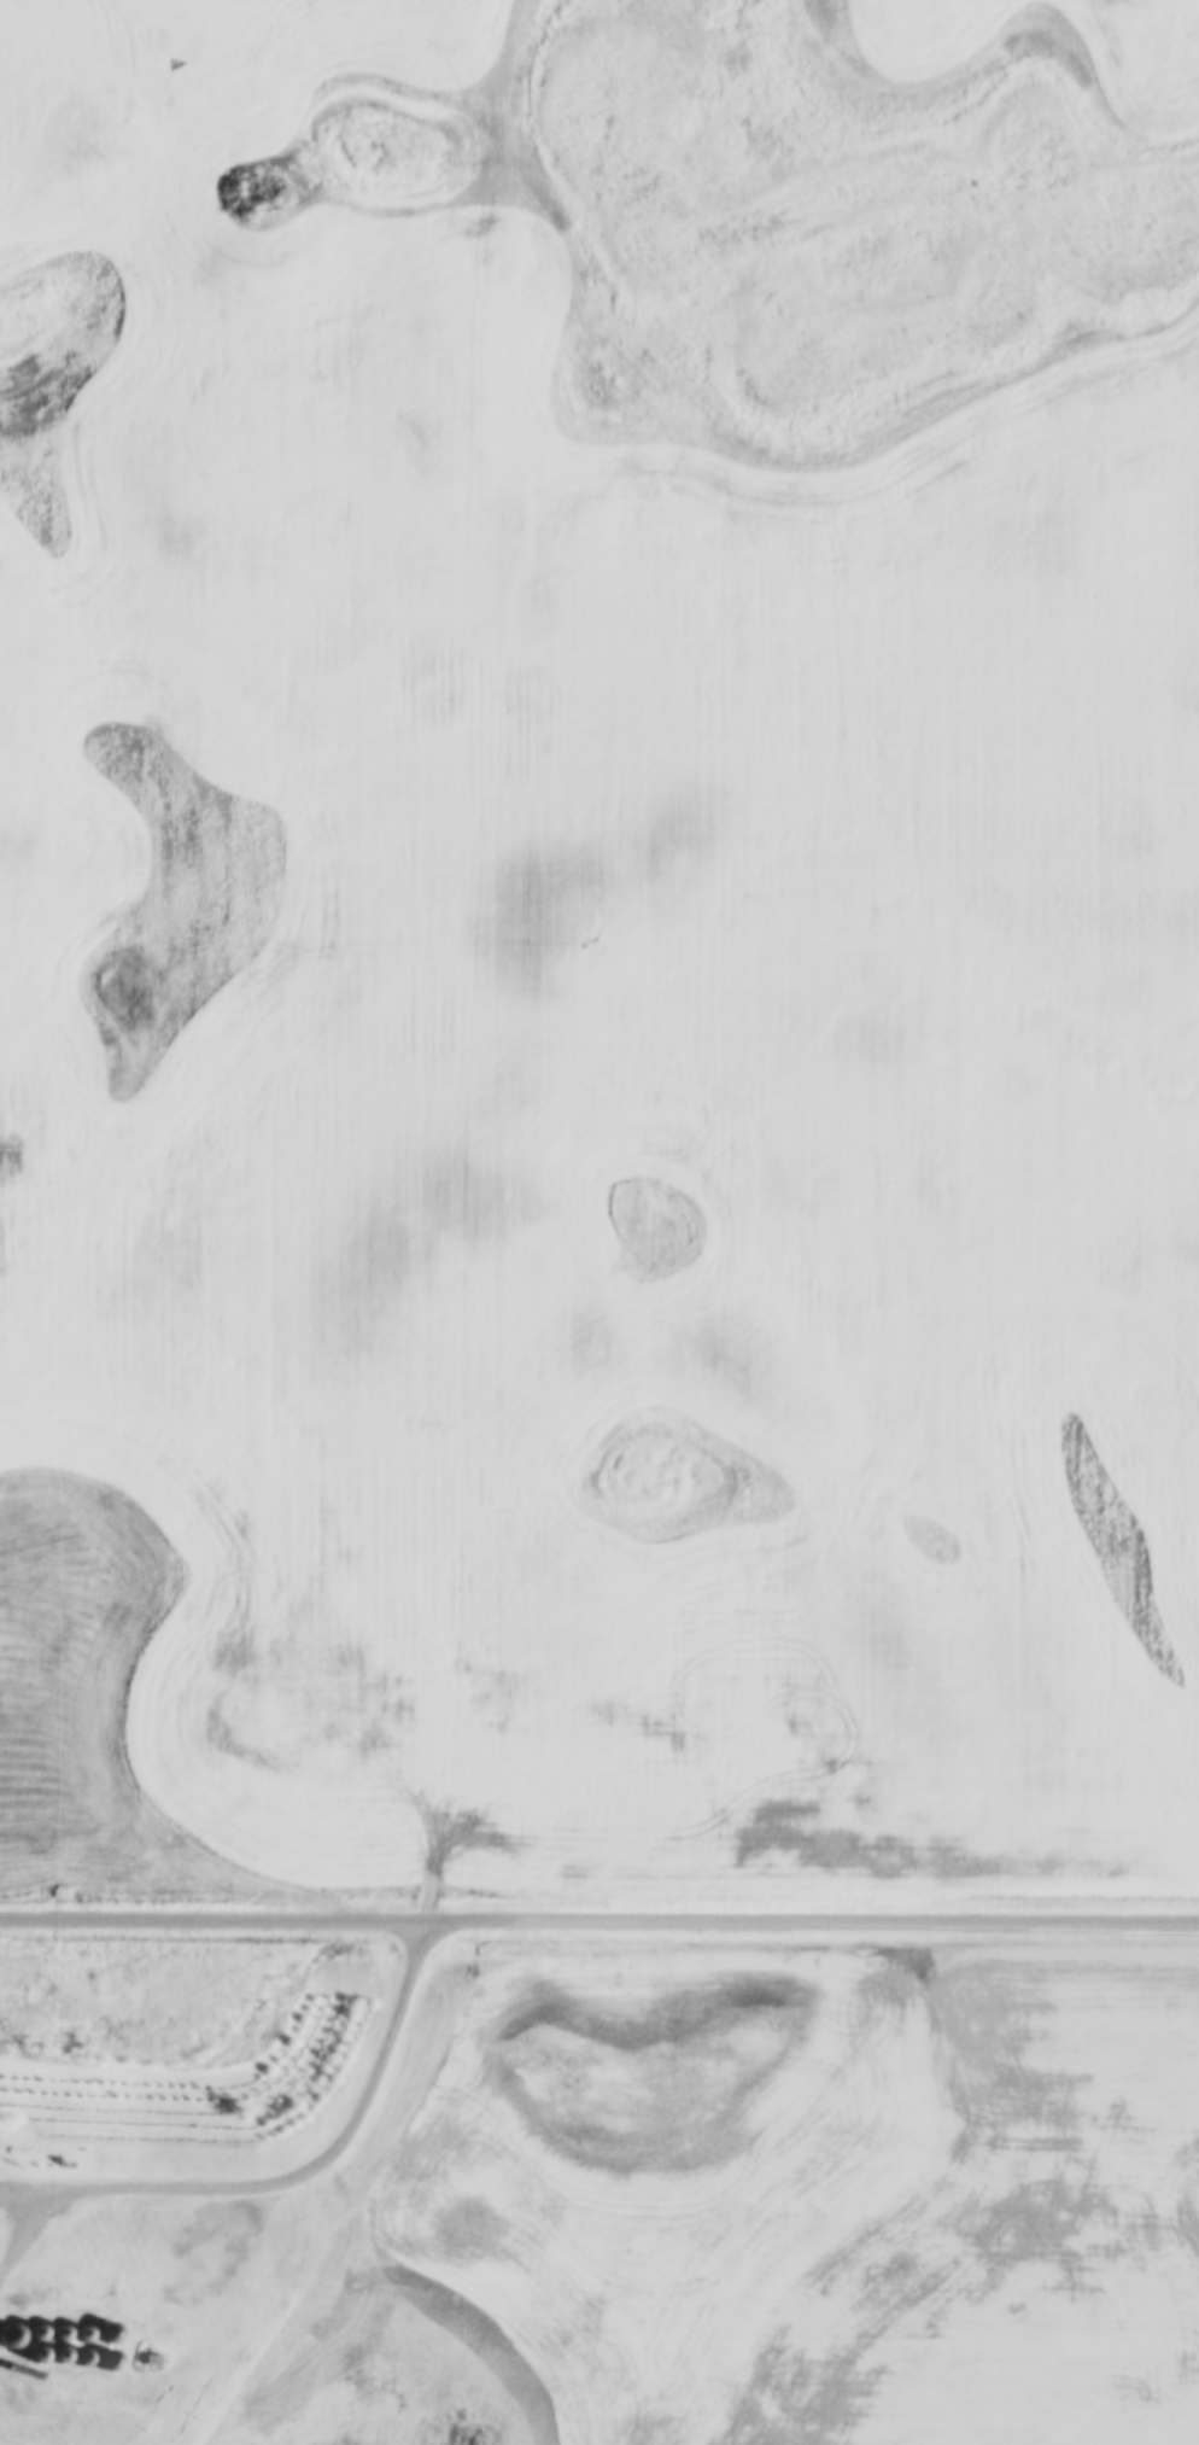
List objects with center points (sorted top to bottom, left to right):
road: (598, 1914)
road: (297, 2173)
road: (31, 2222)
building: (113, 2332)

